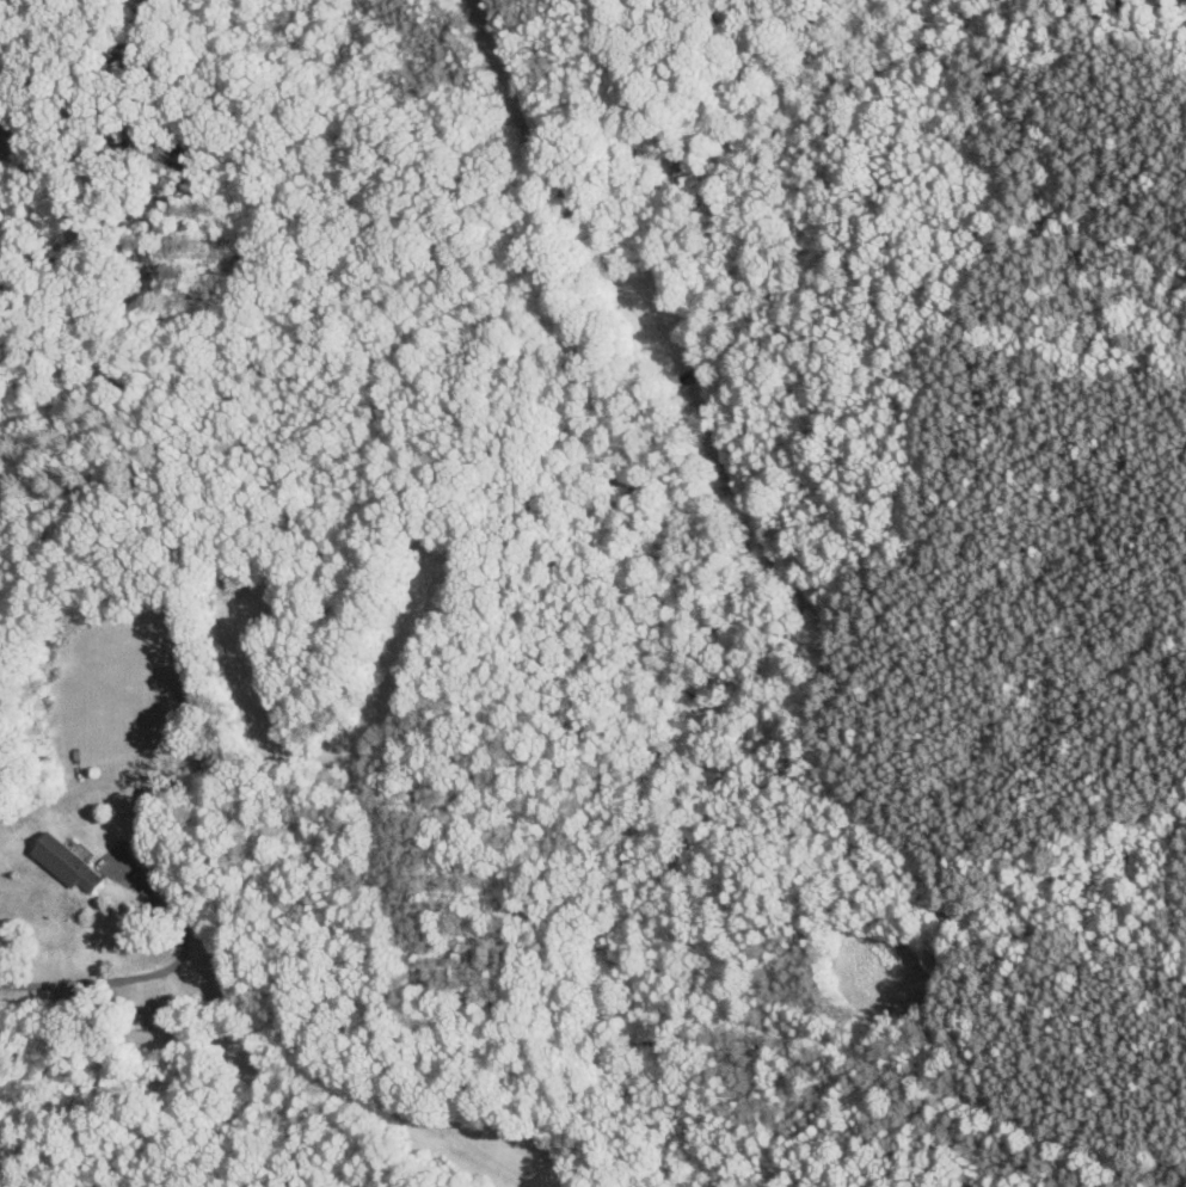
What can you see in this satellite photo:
building: (69, 862)
road: (137, 976)
building: (165, 1013)

